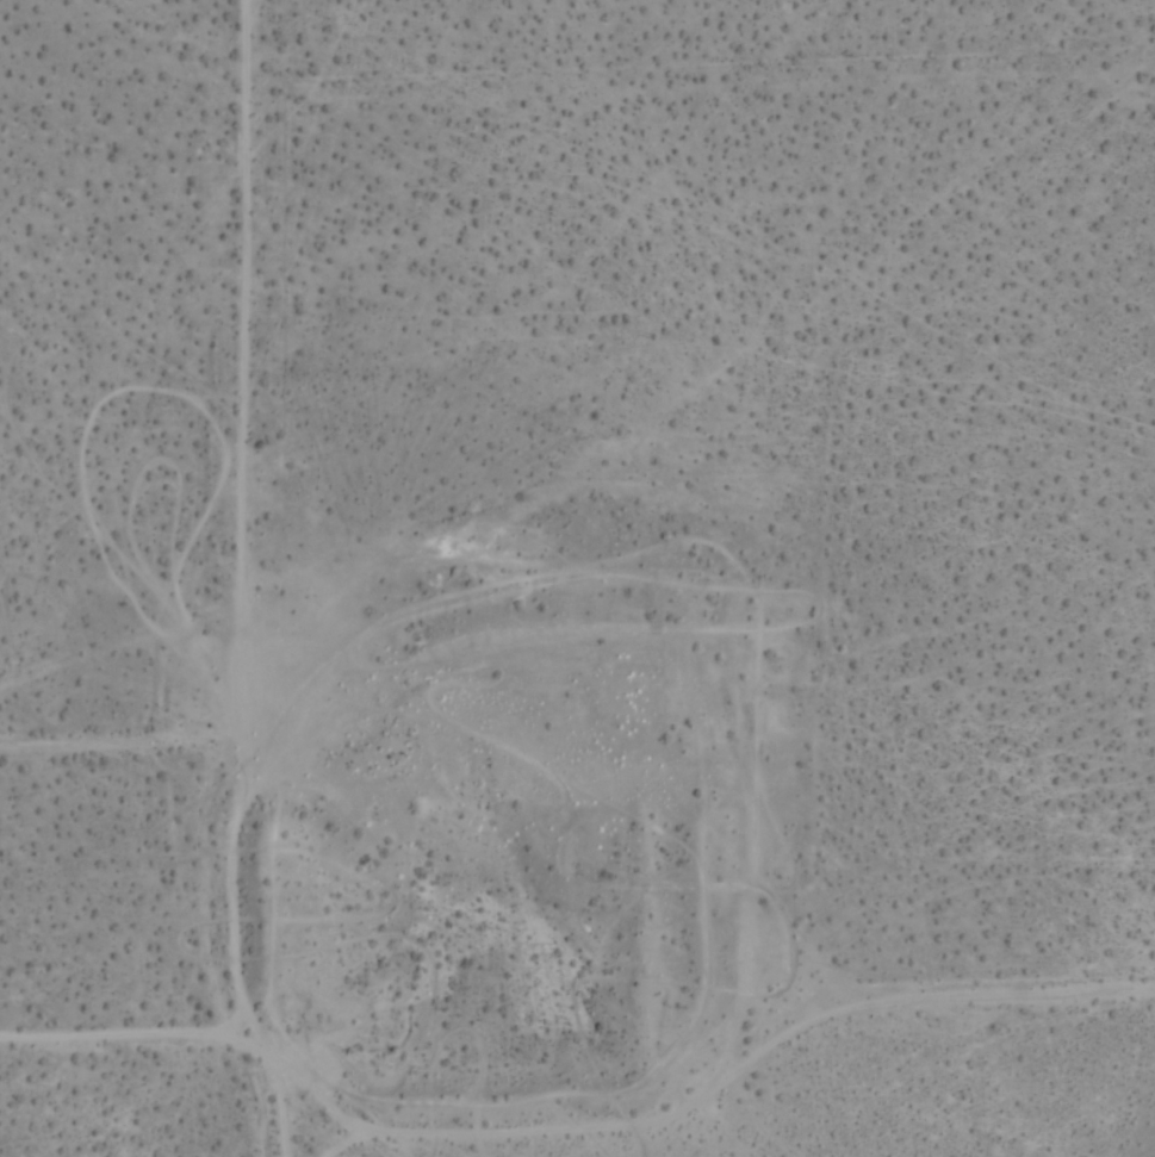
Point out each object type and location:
road: (236, 583)
road: (578, 1131)

